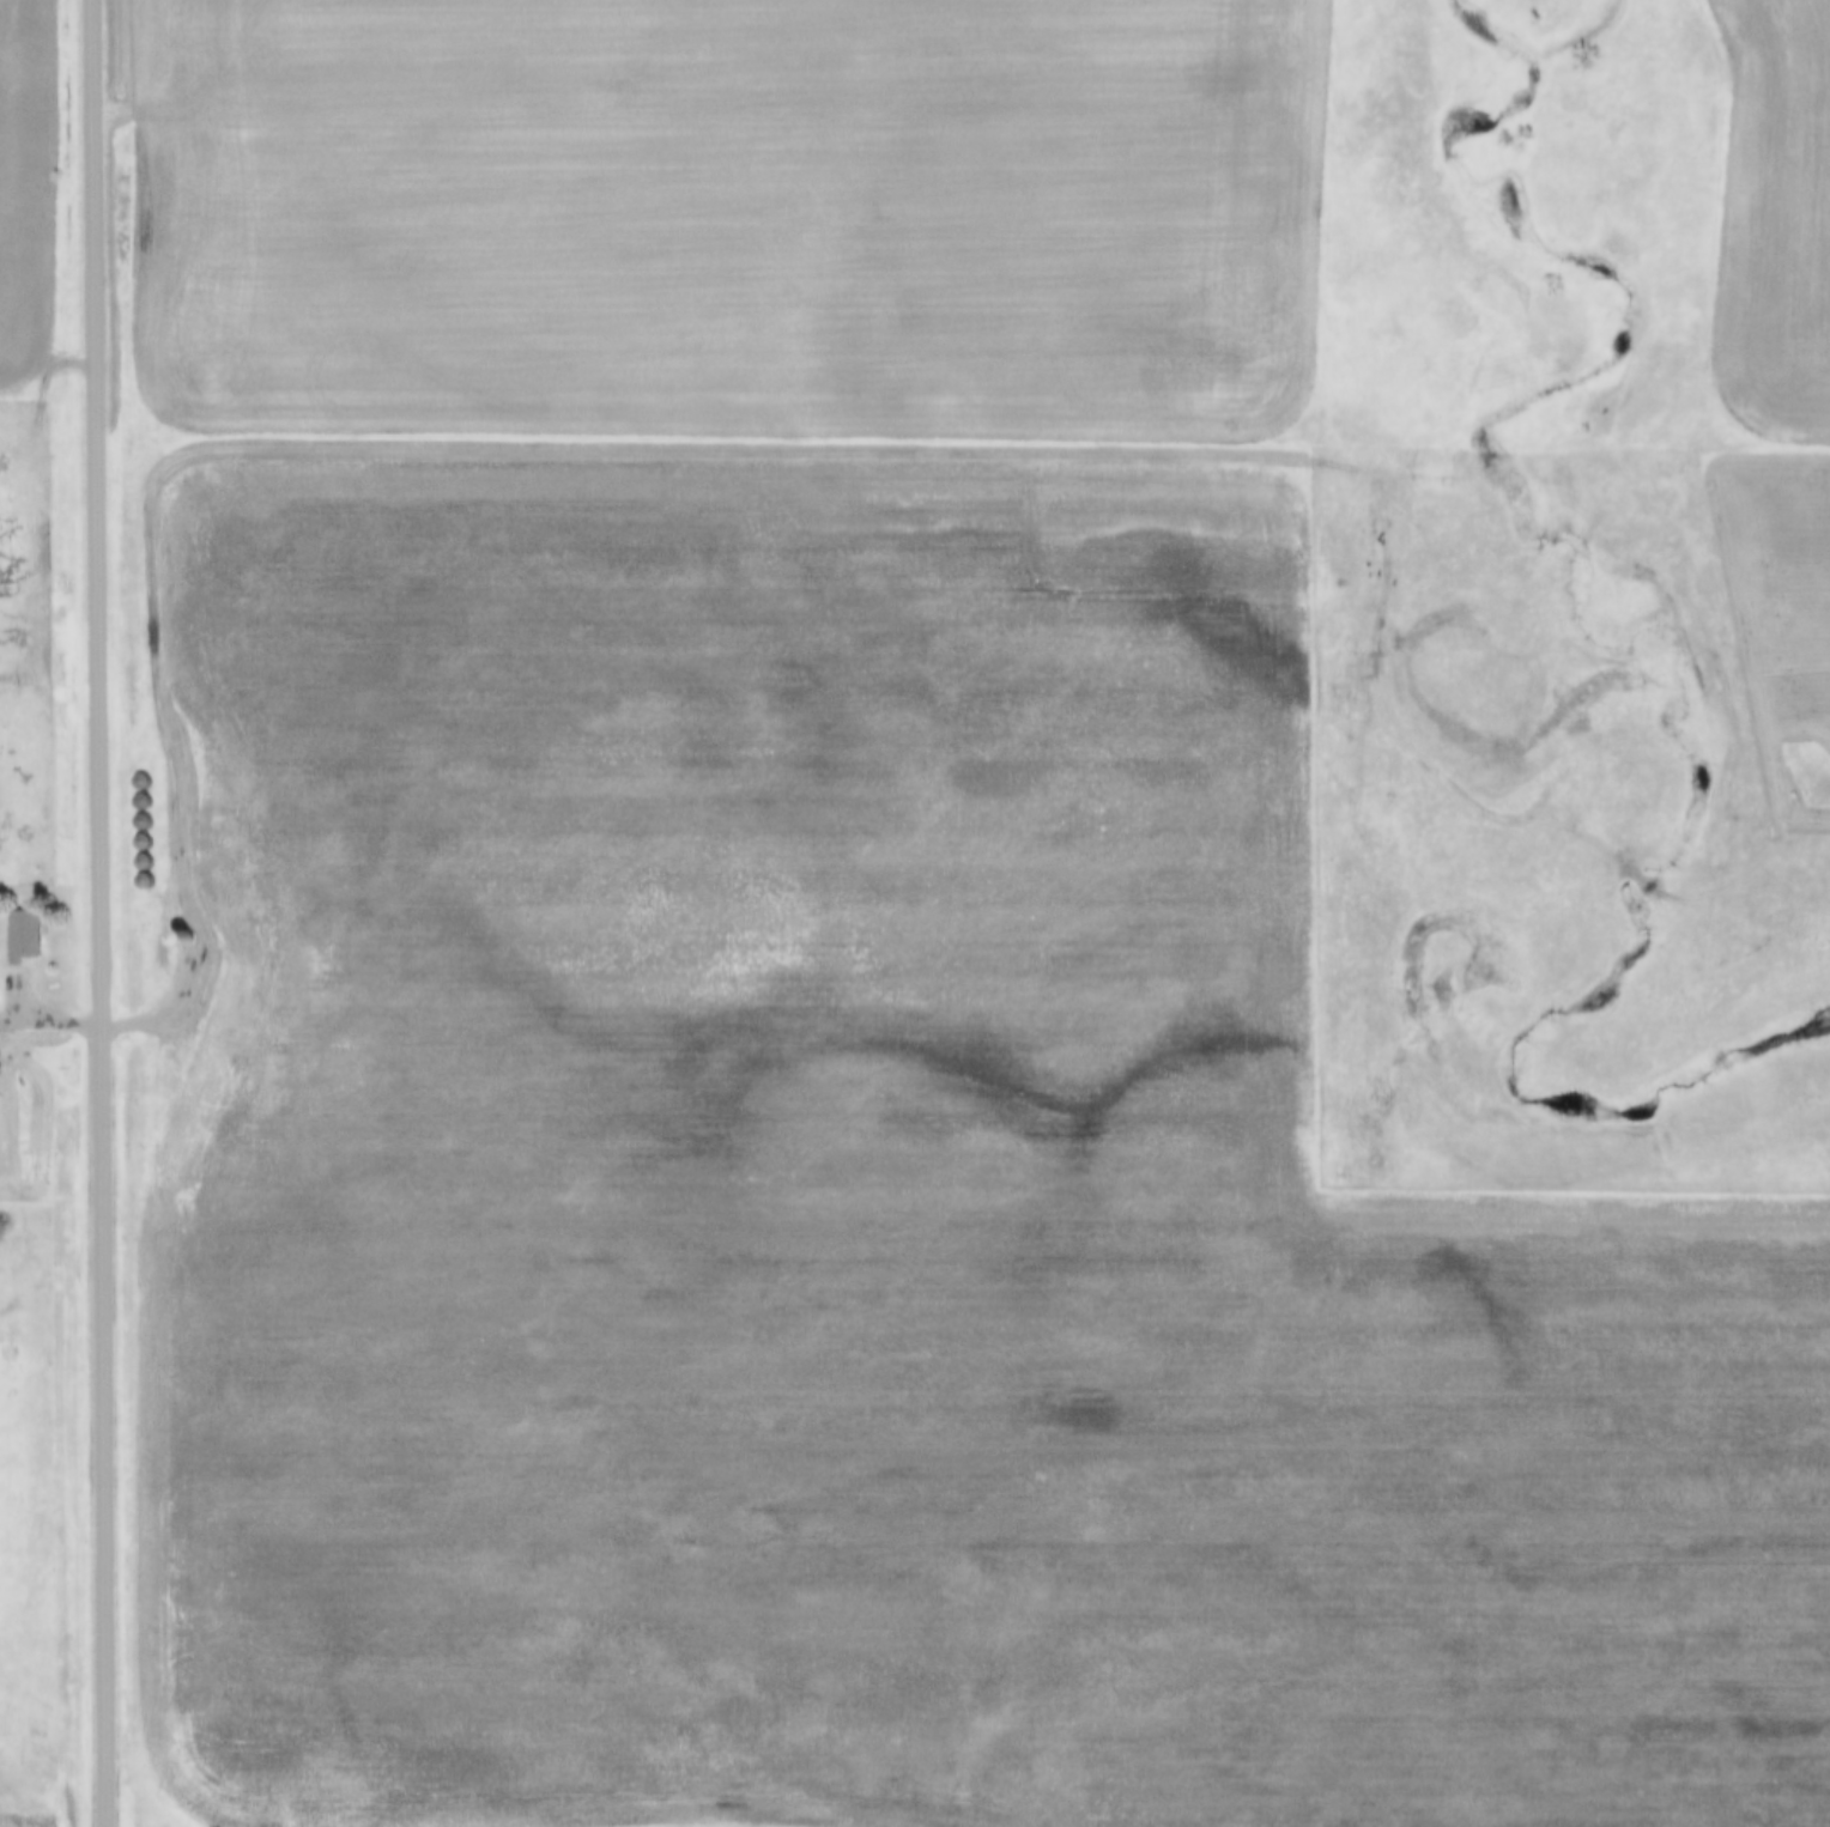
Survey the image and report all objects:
building: (137, 781)
road: (104, 912)
road: (188, 922)
building: (19, 936)
road: (53, 1020)

